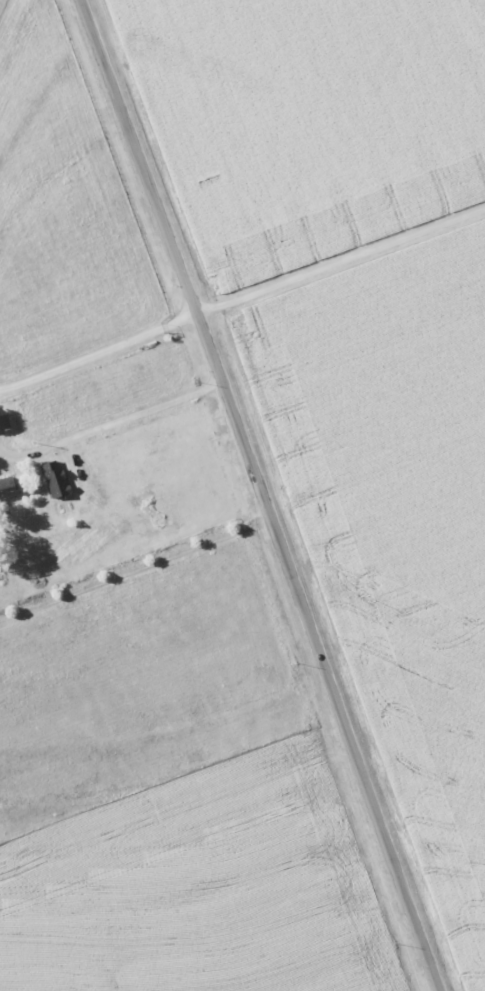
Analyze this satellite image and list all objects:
road: (341, 262)
road: (98, 354)
road: (127, 419)
building: (5, 483)
building: (56, 483)
road: (262, 494)

